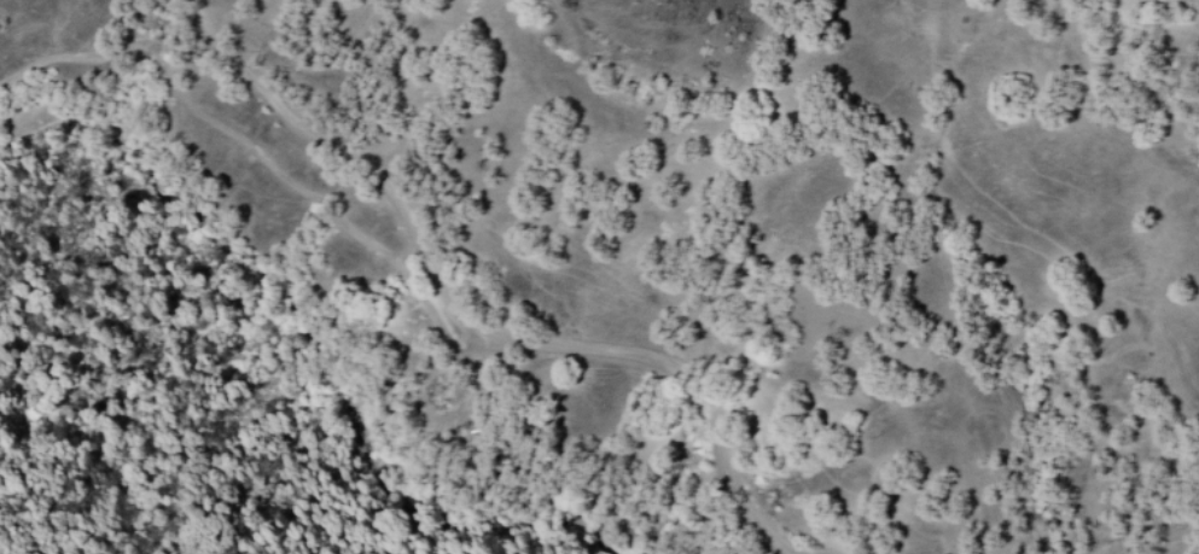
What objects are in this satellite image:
road: (338, 153)
road: (395, 305)

